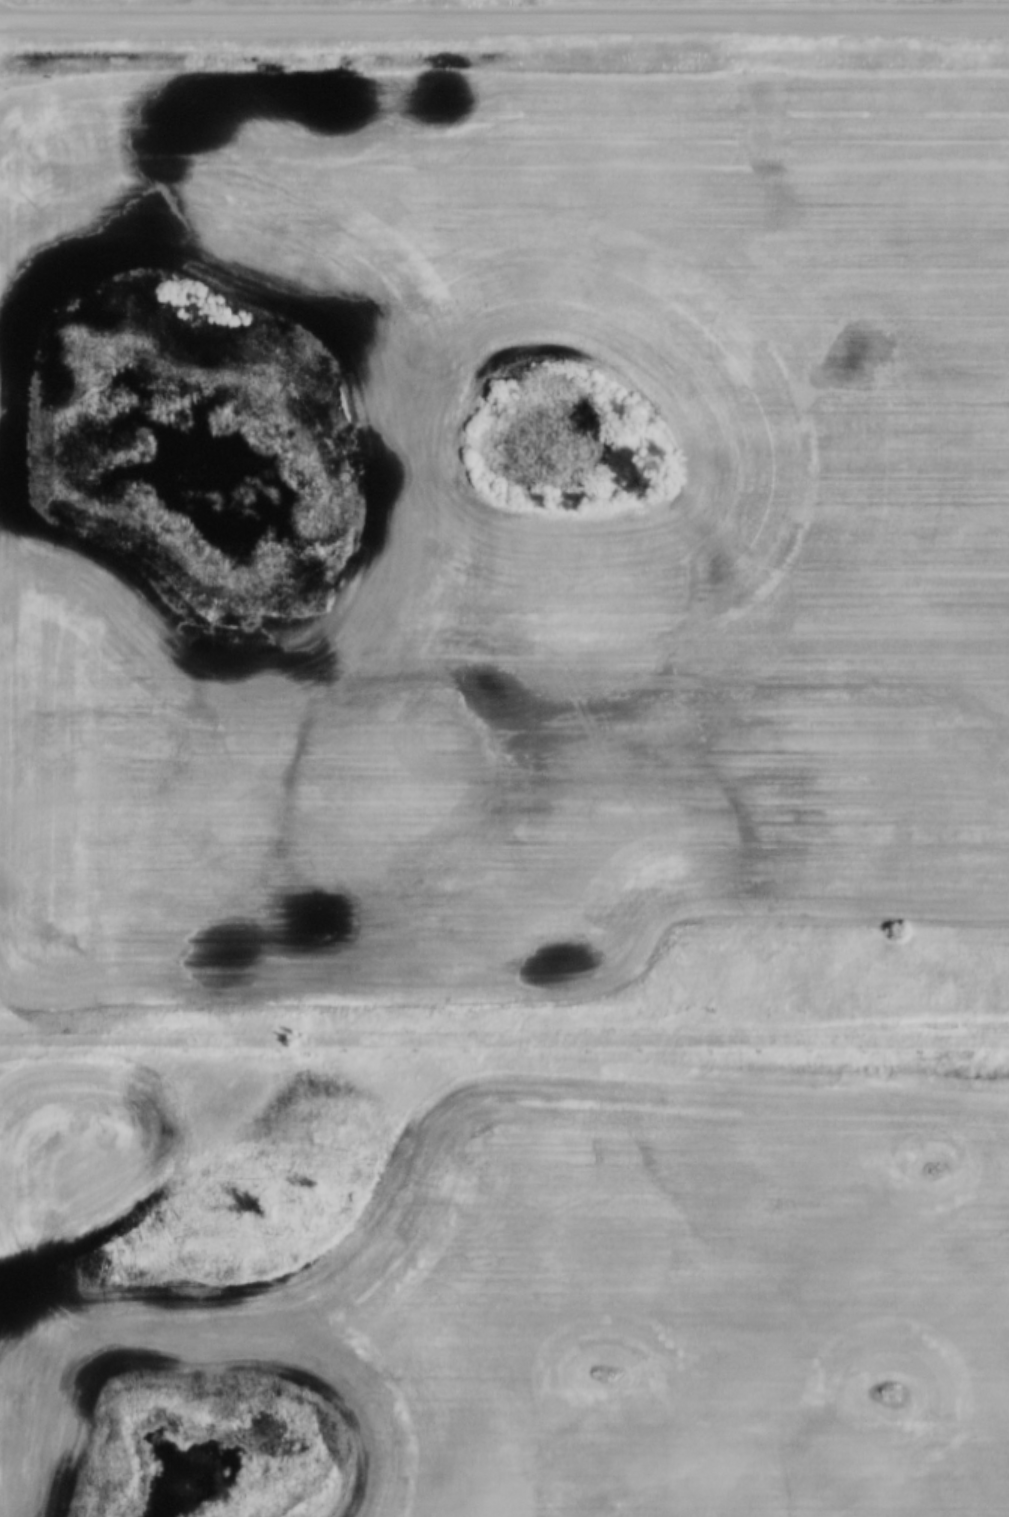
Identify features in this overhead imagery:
road: (504, 19)

